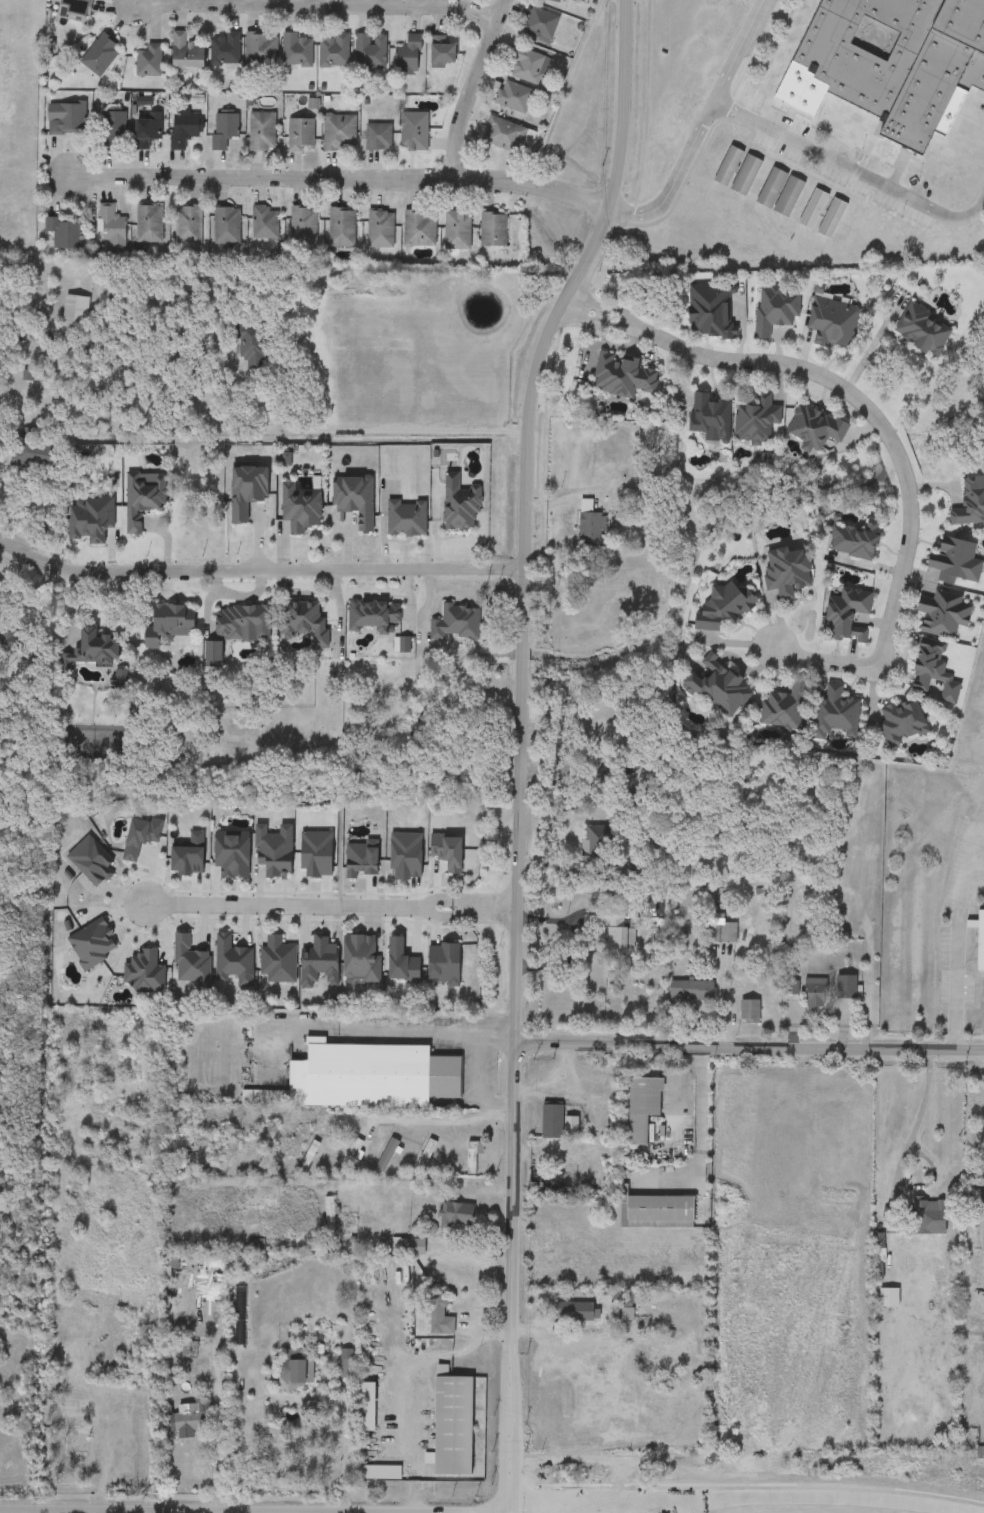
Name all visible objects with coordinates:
building: (561, 1)
road: (322, 7)
building: (74, 10)
building: (540, 23)
building: (224, 49)
building: (260, 49)
building: (296, 50)
building: (333, 51)
building: (186, 52)
building: (370, 52)
building: (441, 53)
road: (747, 54)
building: (100, 55)
building: (408, 56)
building: (897, 60)
building: (148, 61)
building: (527, 67)
road: (477, 90)
building: (513, 97)
building: (66, 118)
building: (110, 128)
building: (183, 128)
building: (224, 129)
building: (261, 132)
building: (413, 132)
building: (146, 133)
building: (338, 133)
building: (300, 135)
building: (502, 135)
building: (377, 138)
building: (727, 166)
road: (854, 173)
building: (745, 176)
building: (955, 179)
road: (339, 185)
road: (680, 185)
building: (972, 185)
building: (771, 188)
building: (788, 197)
building: (812, 210)
building: (831, 219)
building: (264, 224)
building: (148, 225)
building: (187, 226)
building: (225, 226)
building: (302, 226)
building: (341, 228)
building: (419, 229)
building: (111, 230)
building: (379, 230)
building: (456, 230)
building: (492, 230)
building: (64, 233)
building: (710, 310)
building: (775, 311)
building: (74, 316)
building: (832, 324)
building: (922, 329)
building: (249, 346)
building: (622, 377)
building: (710, 417)
building: (756, 421)
road: (888, 428)
building: (814, 429)
road: (393, 432)
building: (31, 449)
building: (246, 490)
building: (142, 500)
building: (354, 500)
building: (970, 504)
building: (301, 506)
building: (461, 506)
road: (528, 511)
road: (436, 524)
building: (590, 531)
building: (854, 541)
building: (956, 562)
road: (258, 569)
building: (787, 572)
building: (724, 608)
building: (943, 614)
building: (847, 616)
building: (372, 617)
building: (301, 620)
building: (170, 622)
building: (241, 622)
building: (456, 624)
building: (92, 649)
building: (933, 671)
building: (718, 688)
building: (783, 709)
building: (834, 716)
building: (902, 723)
building: (634, 804)
building: (598, 841)
building: (272, 850)
building: (231, 854)
road: (974, 857)
road: (569, 866)
road: (332, 907)
building: (719, 929)
building: (978, 936)
building: (617, 937)
road: (956, 958)
building: (360, 959)
building: (277, 960)
building: (319, 963)
building: (845, 987)
building: (789, 988)
building: (691, 990)
building: (815, 993)
road: (717, 1000)
building: (749, 1010)
road: (394, 1032)
road: (749, 1047)
building: (364, 1078)
road: (479, 1083)
building: (642, 1106)
road: (441, 1121)
building: (570, 1126)
road: (698, 1137)
building: (180, 1152)
building: (386, 1155)
building: (472, 1155)
building: (226, 1156)
building: (266, 1156)
building: (308, 1156)
building: (424, 1157)
building: (350, 1158)
road: (911, 1159)
building: (658, 1211)
building: (927, 1212)
building: (456, 1216)
building: (329, 1220)
building: (878, 1248)
road: (510, 1277)
building: (888, 1298)
building: (573, 1312)
building: (437, 1315)
road: (485, 1339)
building: (188, 1350)
building: (345, 1369)
building: (293, 1373)
building: (189, 1386)
road: (415, 1414)
road: (216, 1427)
building: (452, 1427)
building: (73, 1442)
building: (980, 1453)
road: (345, 1463)
building: (767, 1472)
building: (733, 1491)
building: (691, 1495)
road: (745, 1498)
road: (210, 1512)

